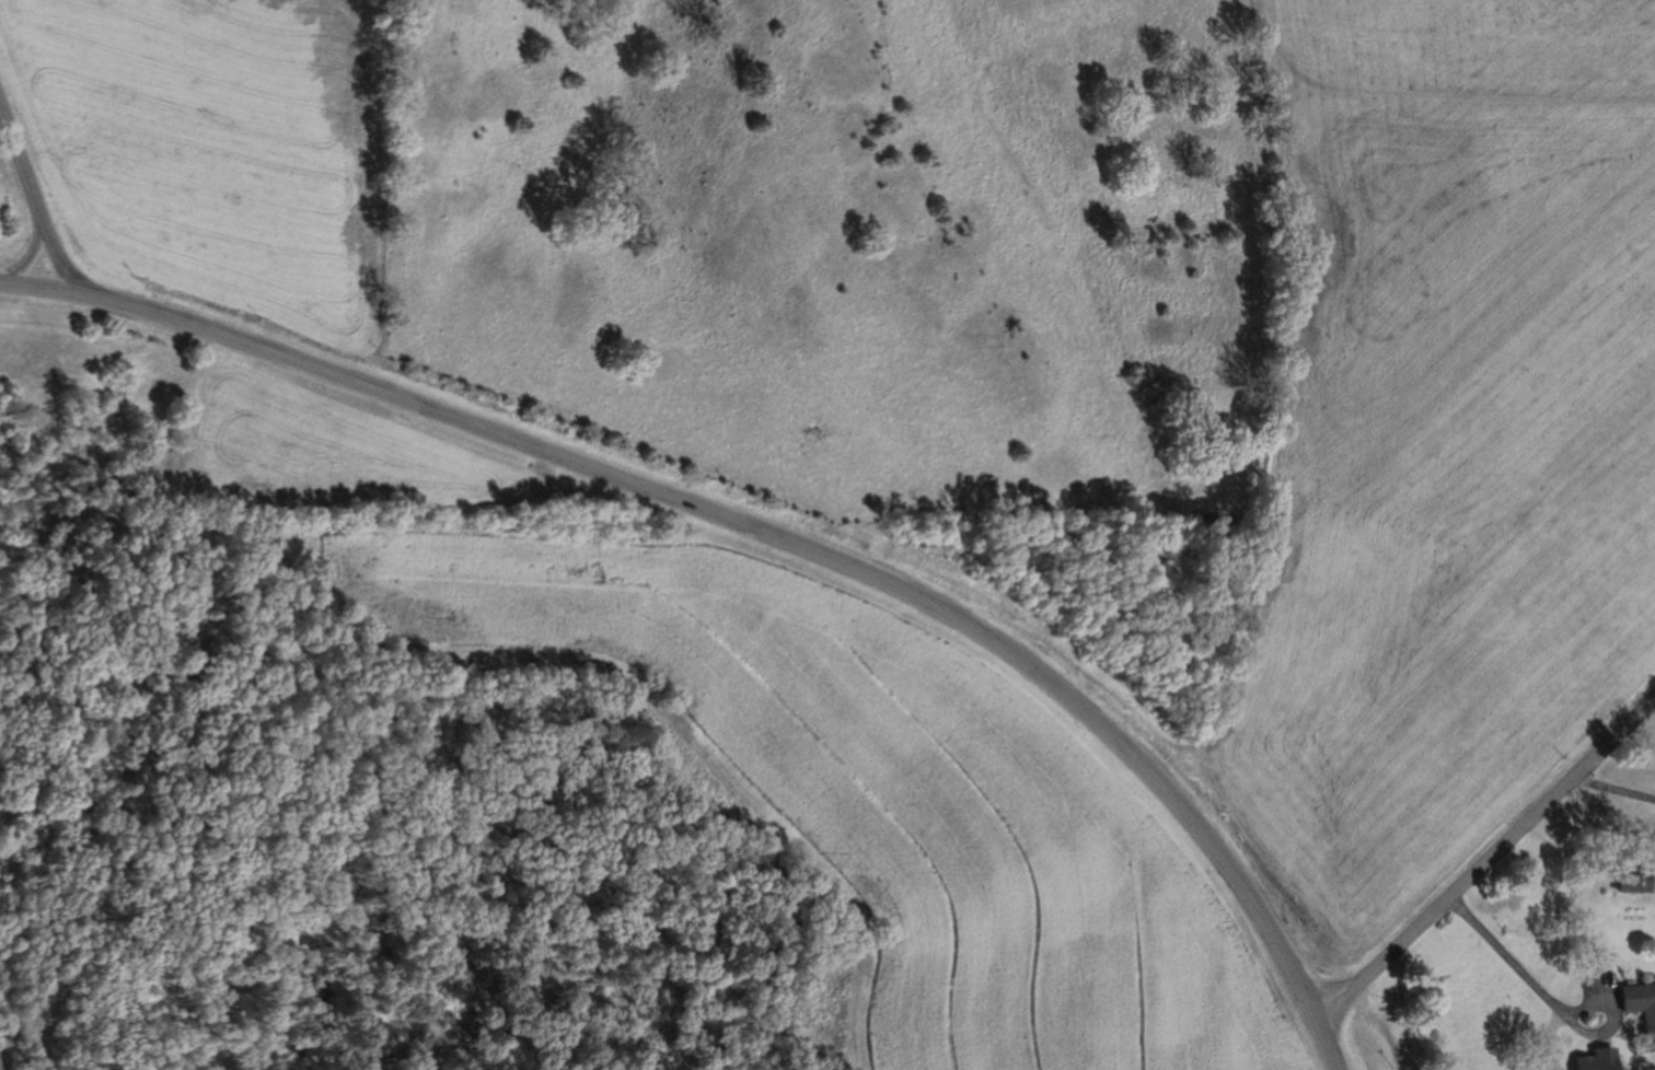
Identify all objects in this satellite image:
road: (31, 191)
road: (765, 535)
road: (1485, 861)
building: (1628, 877)
road: (1552, 1005)
building: (1639, 1008)

